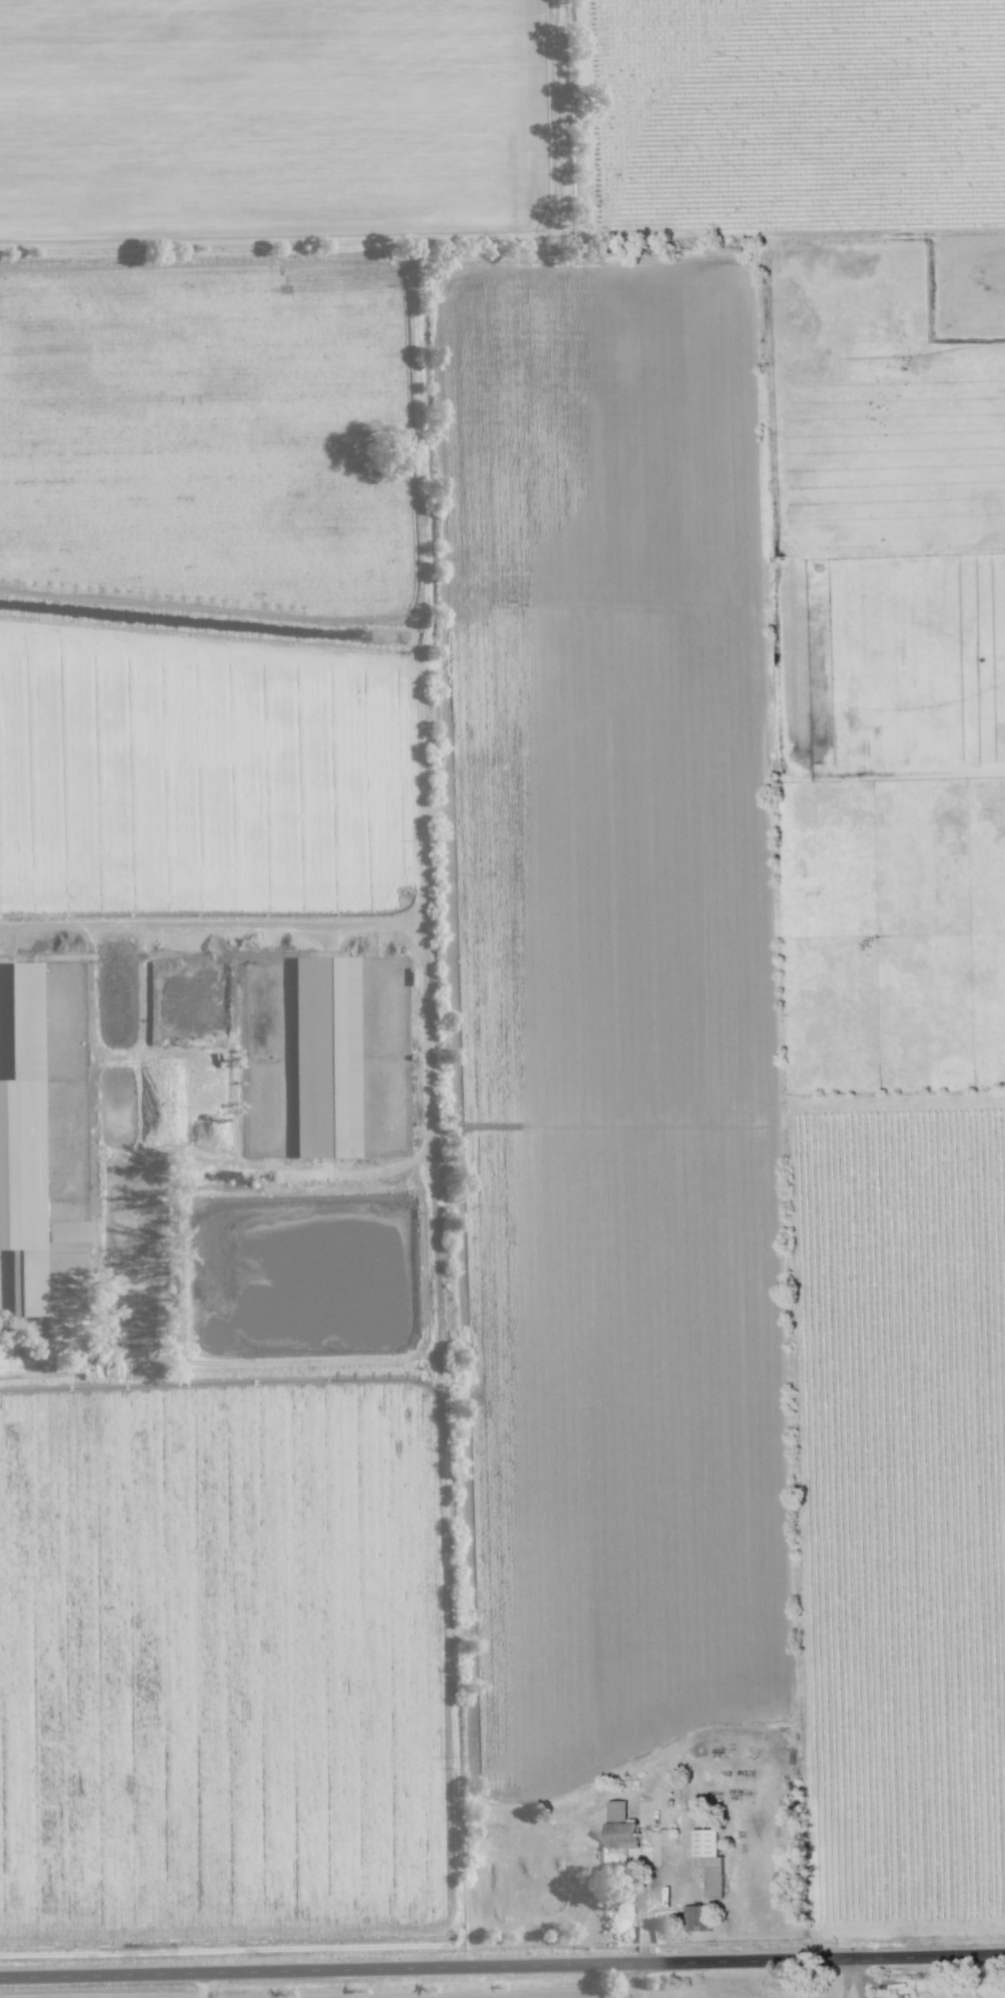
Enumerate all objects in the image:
building: (324, 1057)
road: (900, 1096)
road: (430, 1153)
building: (28, 1158)
building: (621, 1828)
building: (708, 1861)
road: (460, 1875)
road: (653, 1888)
building: (696, 1918)
road: (502, 1969)
road: (843, 1980)
road: (630, 1982)

